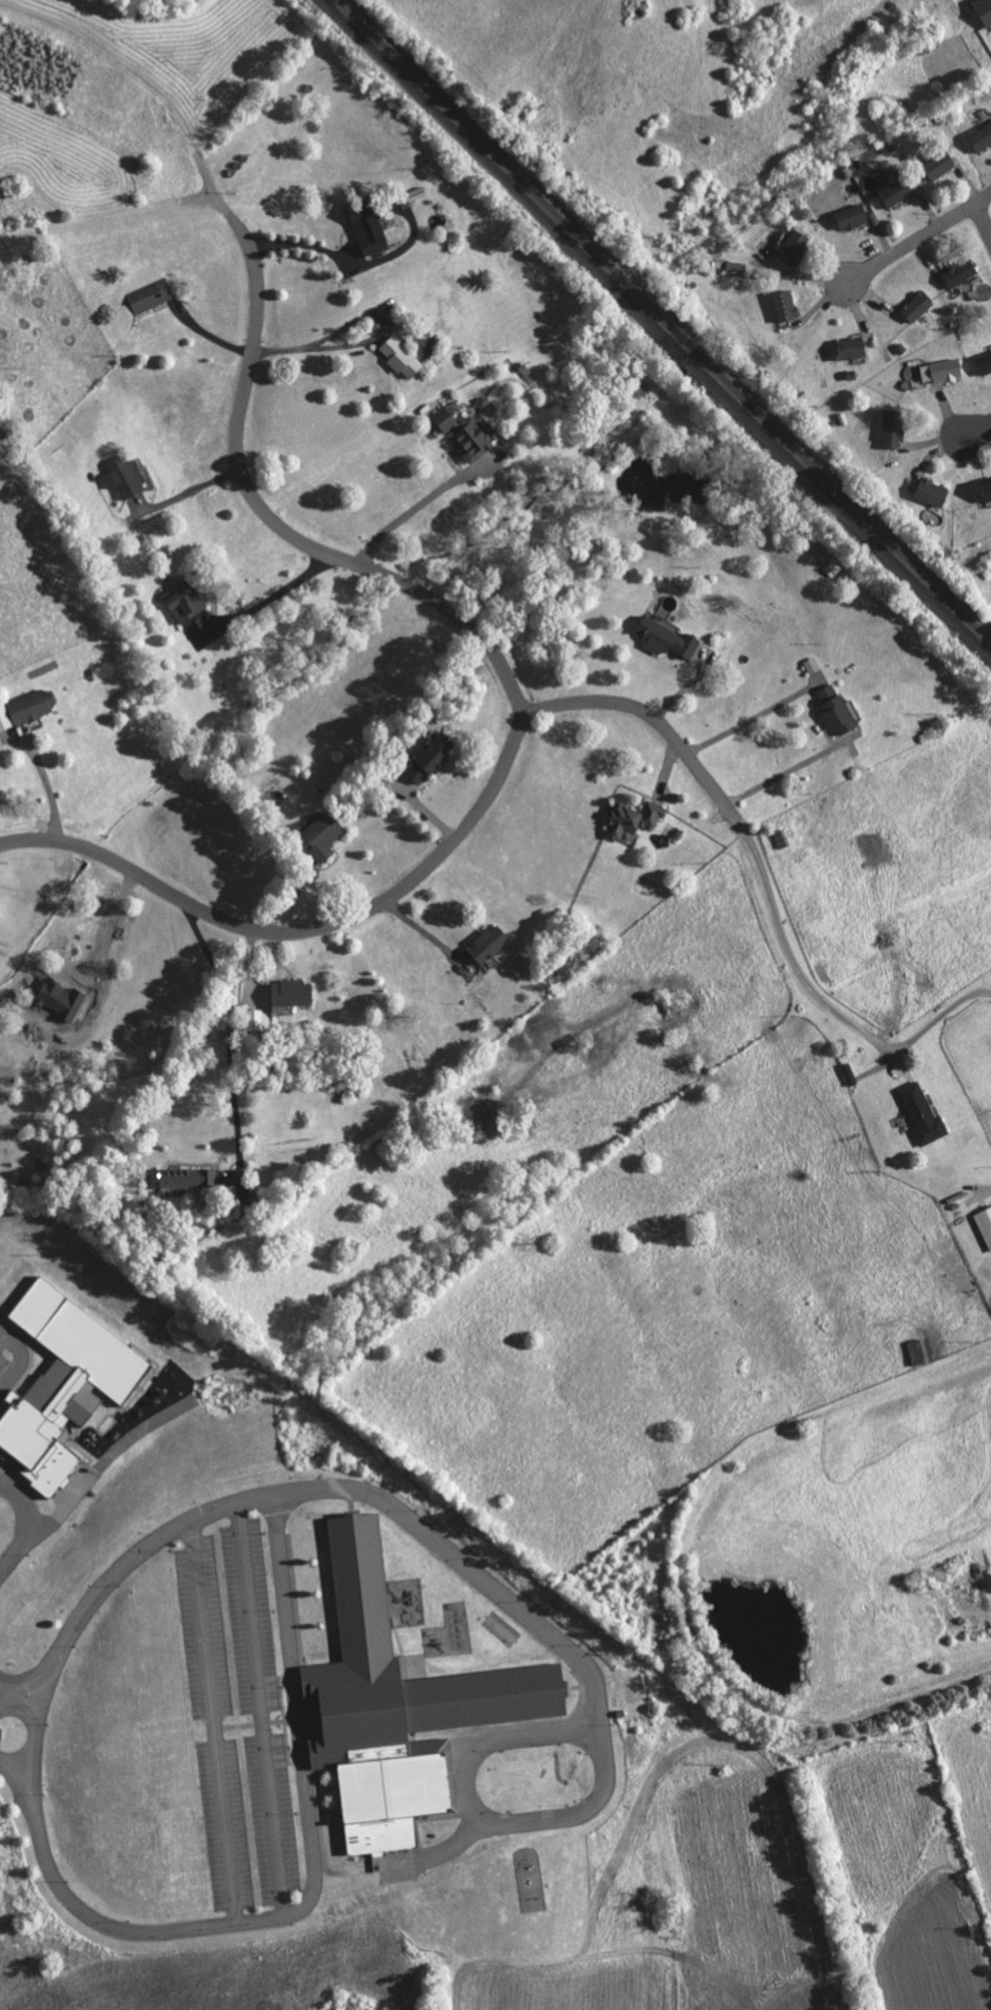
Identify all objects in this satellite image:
building: (984, 10)
building: (981, 137)
building: (940, 165)
building: (897, 189)
building: (853, 217)
road: (983, 220)
building: (369, 226)
road: (918, 238)
building: (796, 247)
building: (961, 272)
building: (150, 295)
building: (786, 305)
building: (918, 306)
railway: (666, 320)
railway: (658, 325)
building: (852, 348)
building: (401, 357)
building: (985, 363)
building: (942, 371)
road: (974, 425)
building: (894, 428)
building: (463, 434)
building: (125, 478)
building: (987, 490)
building: (933, 492)
building: (186, 600)
building: (667, 639)
building: (811, 665)
building: (32, 706)
building: (836, 709)
road: (515, 710)
road: (639, 710)
building: (5, 718)
building: (432, 758)
road: (47, 771)
road: (784, 773)
building: (634, 819)
building: (323, 835)
building: (490, 944)
road: (789, 953)
building: (292, 993)
road: (938, 1019)
road: (231, 1026)
building: (849, 1073)
building: (923, 1114)
building: (187, 1177)
building: (985, 1223)
building: (919, 1350)
road: (20, 1358)
building: (66, 1382)
road: (27, 1524)
road: (202, 1624)
road: (294, 1671)
road: (30, 1673)
road: (6, 1698)
building: (400, 1704)
road: (36, 1722)
road: (96, 1920)

